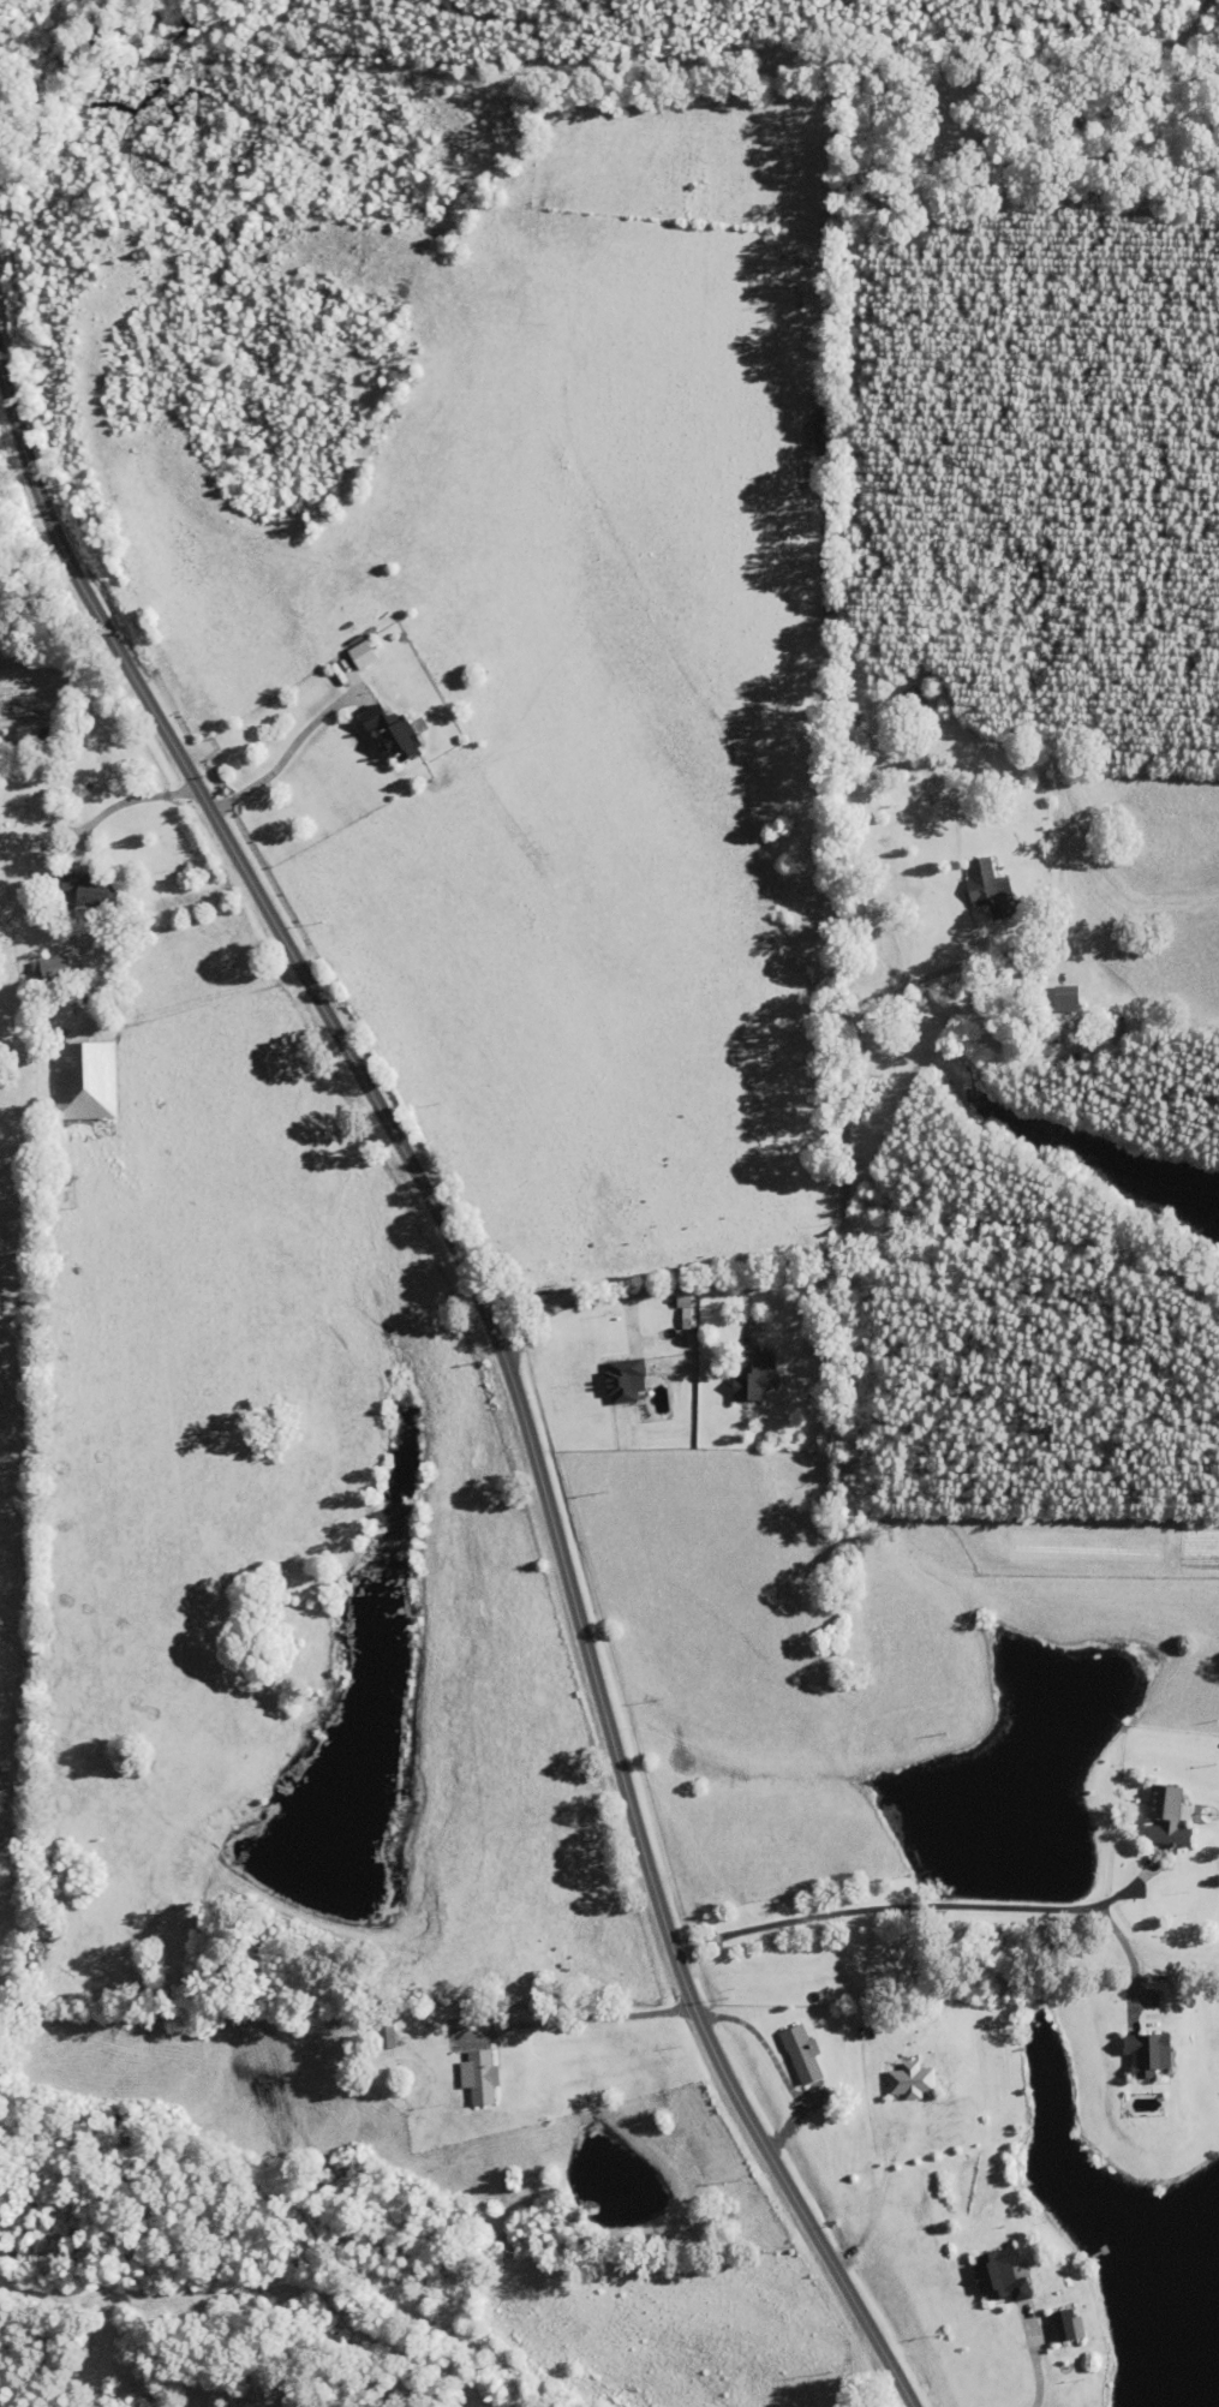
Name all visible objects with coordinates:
building: (914, 703)
building: (393, 729)
building: (102, 761)
building: (992, 888)
building: (92, 898)
building: (53, 968)
building: (1069, 998)
building: (86, 1080)
road: (833, 1250)
road: (506, 1361)
building: (757, 1372)
road: (838, 1650)
building: (1170, 1817)
building: (387, 2033)
building: (1151, 2053)
building: (805, 2054)
building: (483, 2077)
road: (1010, 2130)
building: (1003, 2276)
building: (1070, 2325)

